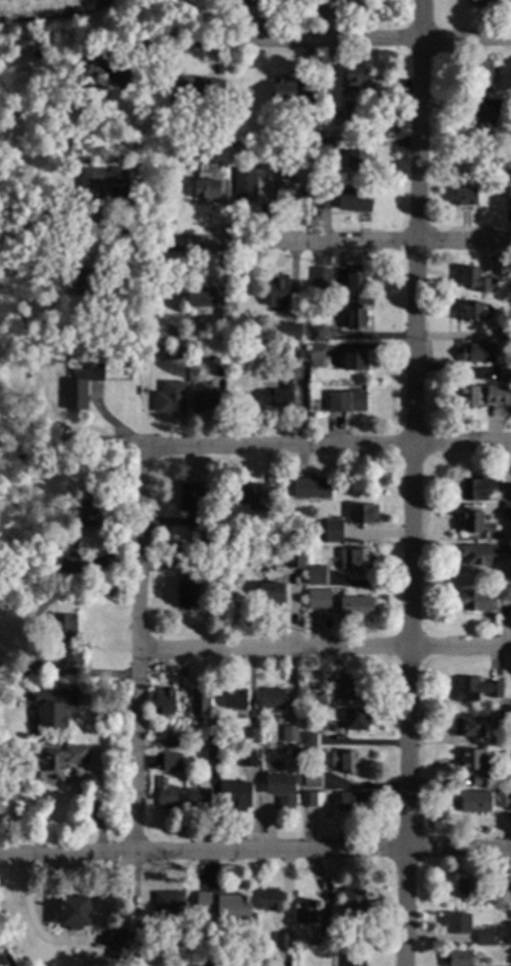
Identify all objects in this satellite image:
building: (265, 0)
building: (241, 2)
building: (491, 2)
road: (324, 43)
building: (481, 73)
building: (354, 75)
building: (82, 79)
building: (196, 87)
building: (319, 88)
building: (287, 89)
building: (486, 114)
building: (301, 129)
building: (315, 136)
building: (321, 148)
building: (357, 157)
building: (133, 165)
building: (274, 166)
building: (154, 167)
building: (97, 183)
building: (245, 184)
building: (206, 189)
building: (288, 191)
building: (465, 195)
building: (508, 195)
building: (321, 196)
building: (354, 198)
road: (330, 249)
building: (321, 277)
building: (473, 279)
building: (355, 280)
building: (91, 281)
building: (277, 289)
building: (201, 295)
building: (472, 311)
building: (220, 315)
building: (355, 316)
building: (148, 322)
building: (316, 332)
building: (291, 334)
building: (508, 334)
building: (219, 335)
building: (57, 348)
building: (176, 351)
building: (478, 352)
building: (298, 353)
building: (315, 354)
building: (0, 355)
building: (354, 359)
building: (220, 368)
building: (505, 372)
building: (80, 386)
building: (498, 394)
building: (278, 395)
building: (469, 396)
building: (171, 397)
building: (346, 400)
building: (205, 401)
road: (326, 446)
building: (1, 453)
road: (413, 482)
building: (314, 487)
building: (474, 489)
building: (507, 491)
building: (254, 494)
building: (192, 503)
building: (86, 509)
building: (506, 509)
building: (363, 513)
building: (472, 520)
building: (333, 528)
building: (314, 536)
building: (69, 538)
building: (247, 538)
building: (299, 539)
building: (506, 552)
building: (478, 553)
building: (186, 556)
building: (295, 558)
building: (357, 558)
building: (56, 567)
building: (315, 573)
building: (186, 591)
building: (504, 592)
building: (270, 593)
building: (318, 598)
building: (477, 600)
building: (355, 605)
building: (66, 637)
road: (325, 649)
road: (138, 650)
building: (351, 687)
building: (475, 688)
building: (321, 696)
building: (274, 697)
building: (235, 698)
building: (163, 700)
building: (199, 700)
building: (56, 706)
building: (501, 715)
building: (355, 717)
building: (469, 726)
building: (289, 732)
building: (251, 734)
building: (309, 738)
building: (211, 739)
building: (174, 740)
building: (260, 745)
building: (509, 749)
building: (294, 752)
building: (308, 753)
building: (211, 757)
building: (248, 757)
building: (472, 759)
building: (58, 760)
building: (170, 761)
building: (344, 761)
building: (311, 778)
building: (479, 781)
building: (280, 788)
building: (239, 795)
building: (166, 796)
building: (503, 797)
building: (198, 798)
building: (312, 798)
building: (354, 800)
building: (475, 801)
road: (255, 852)
building: (465, 888)
building: (501, 897)
building: (271, 899)
building: (168, 901)
building: (224, 904)
building: (355, 905)
building: (73, 911)
building: (306, 912)
building: (458, 924)
building: (326, 931)
building: (484, 937)
building: (171, 939)
building: (282, 939)
building: (113, 941)
building: (211, 955)
building: (260, 956)
building: (457, 957)
building: (353, 959)
building: (210, 964)

